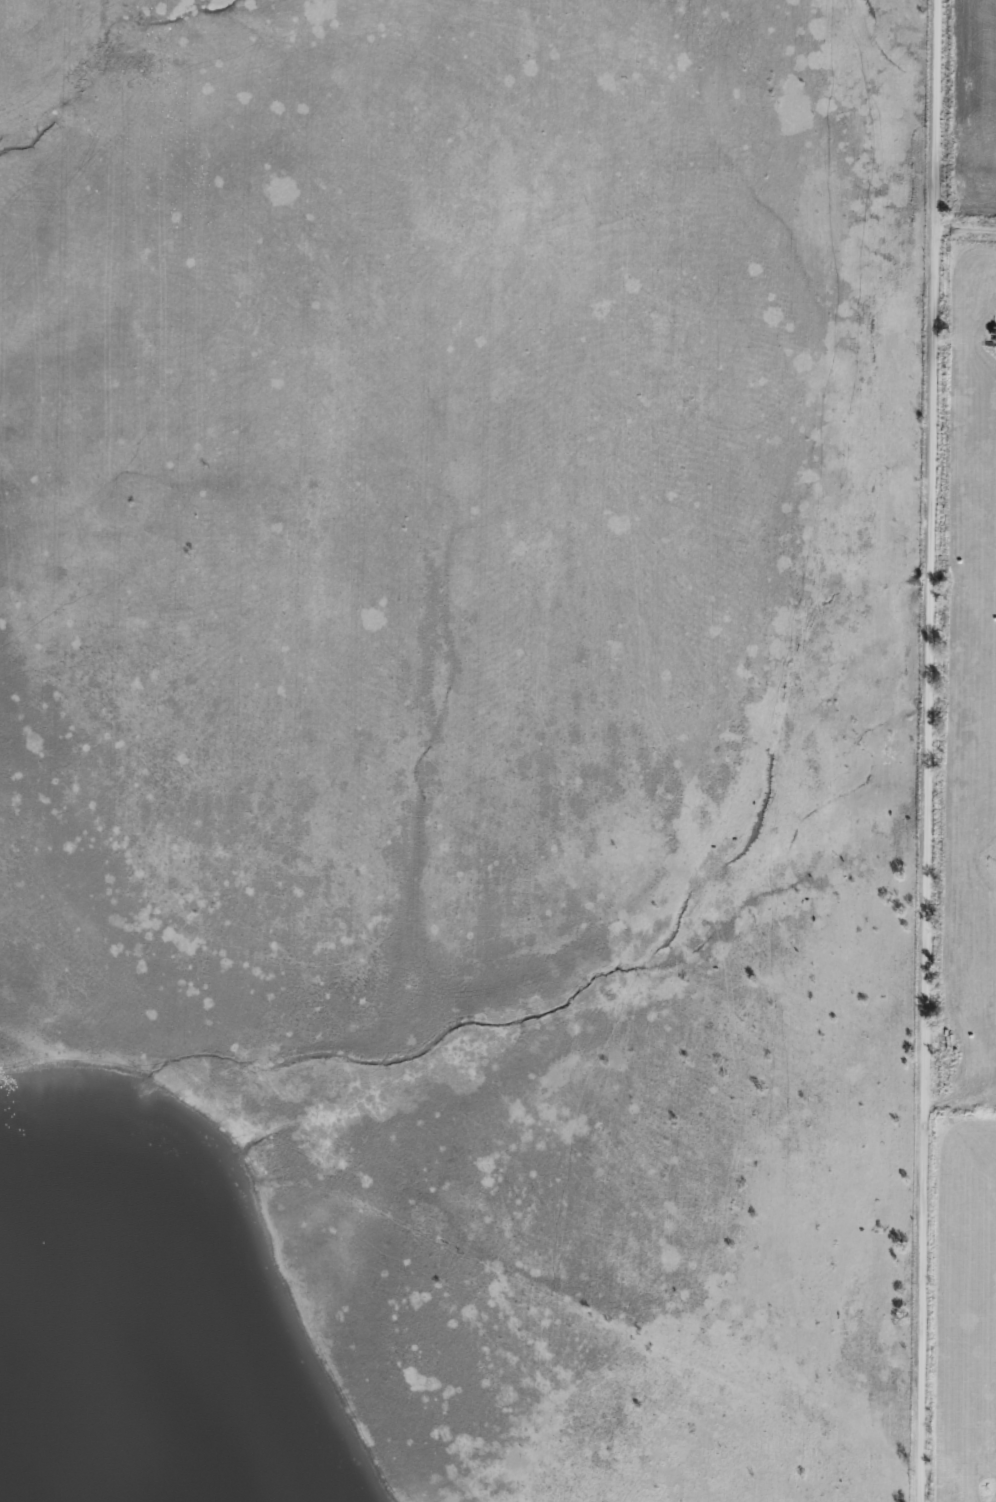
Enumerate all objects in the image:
road: (927, 751)

